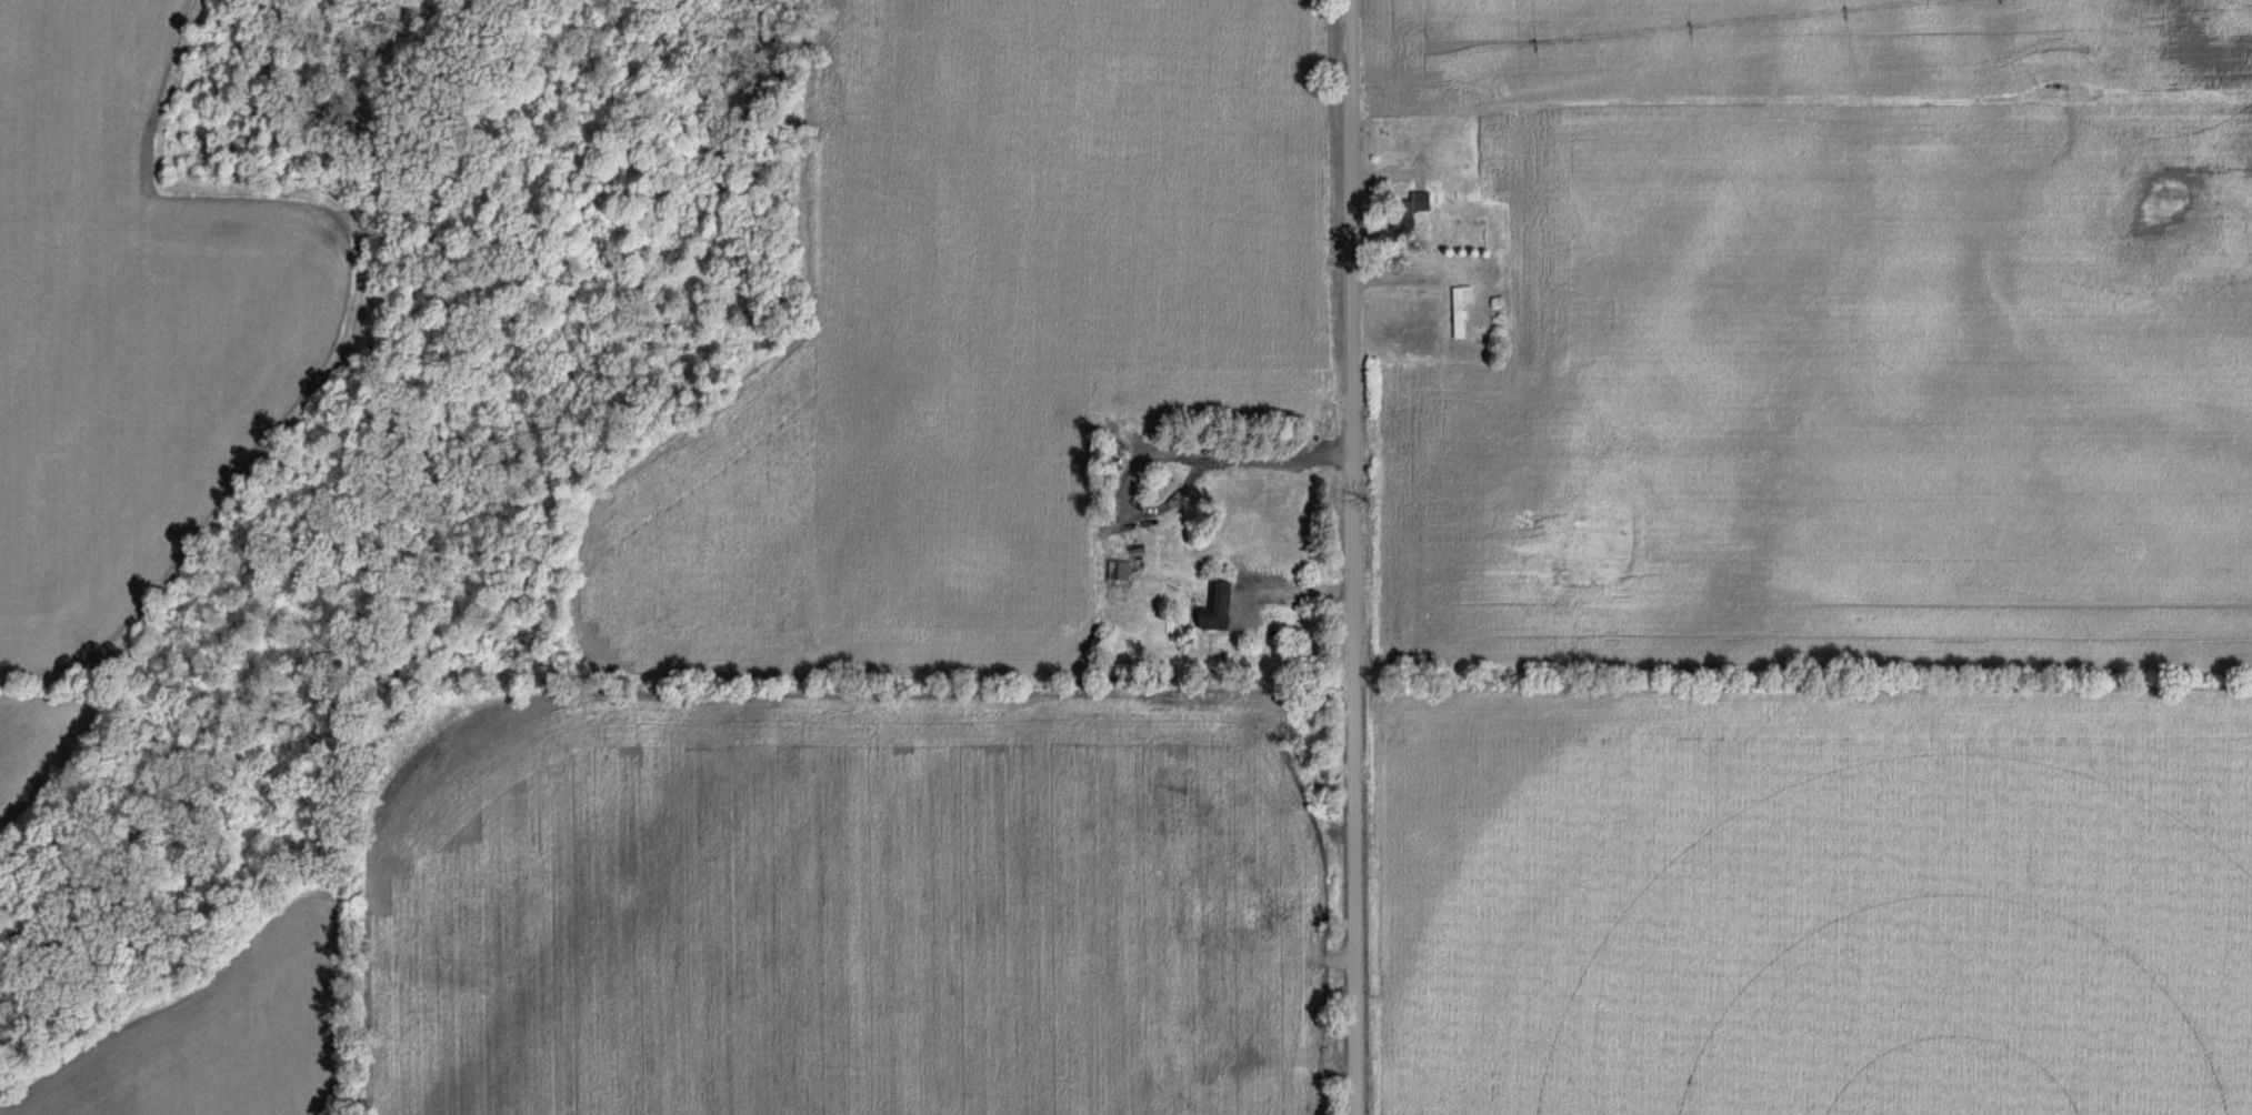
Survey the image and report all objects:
building: (1404, 213)
building: (1457, 312)
road: (1172, 454)
road: (1352, 557)
building: (1115, 573)
building: (1212, 610)
building: (1253, 1019)
building: (1208, 1072)

